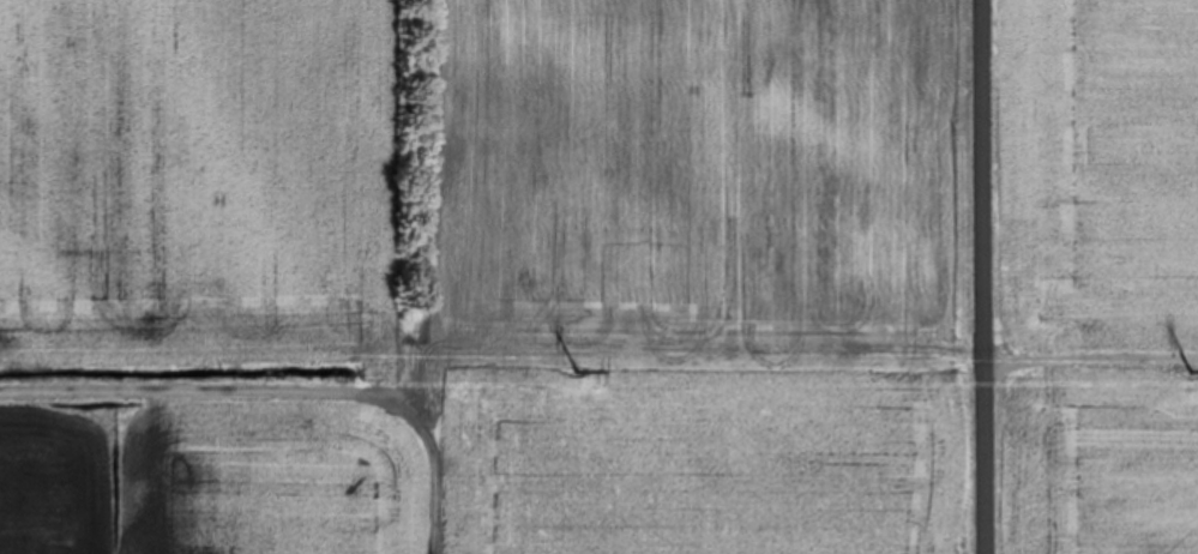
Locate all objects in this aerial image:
road: (986, 276)
road: (1091, 350)
power tower: (1193, 363)
power tower: (579, 365)

